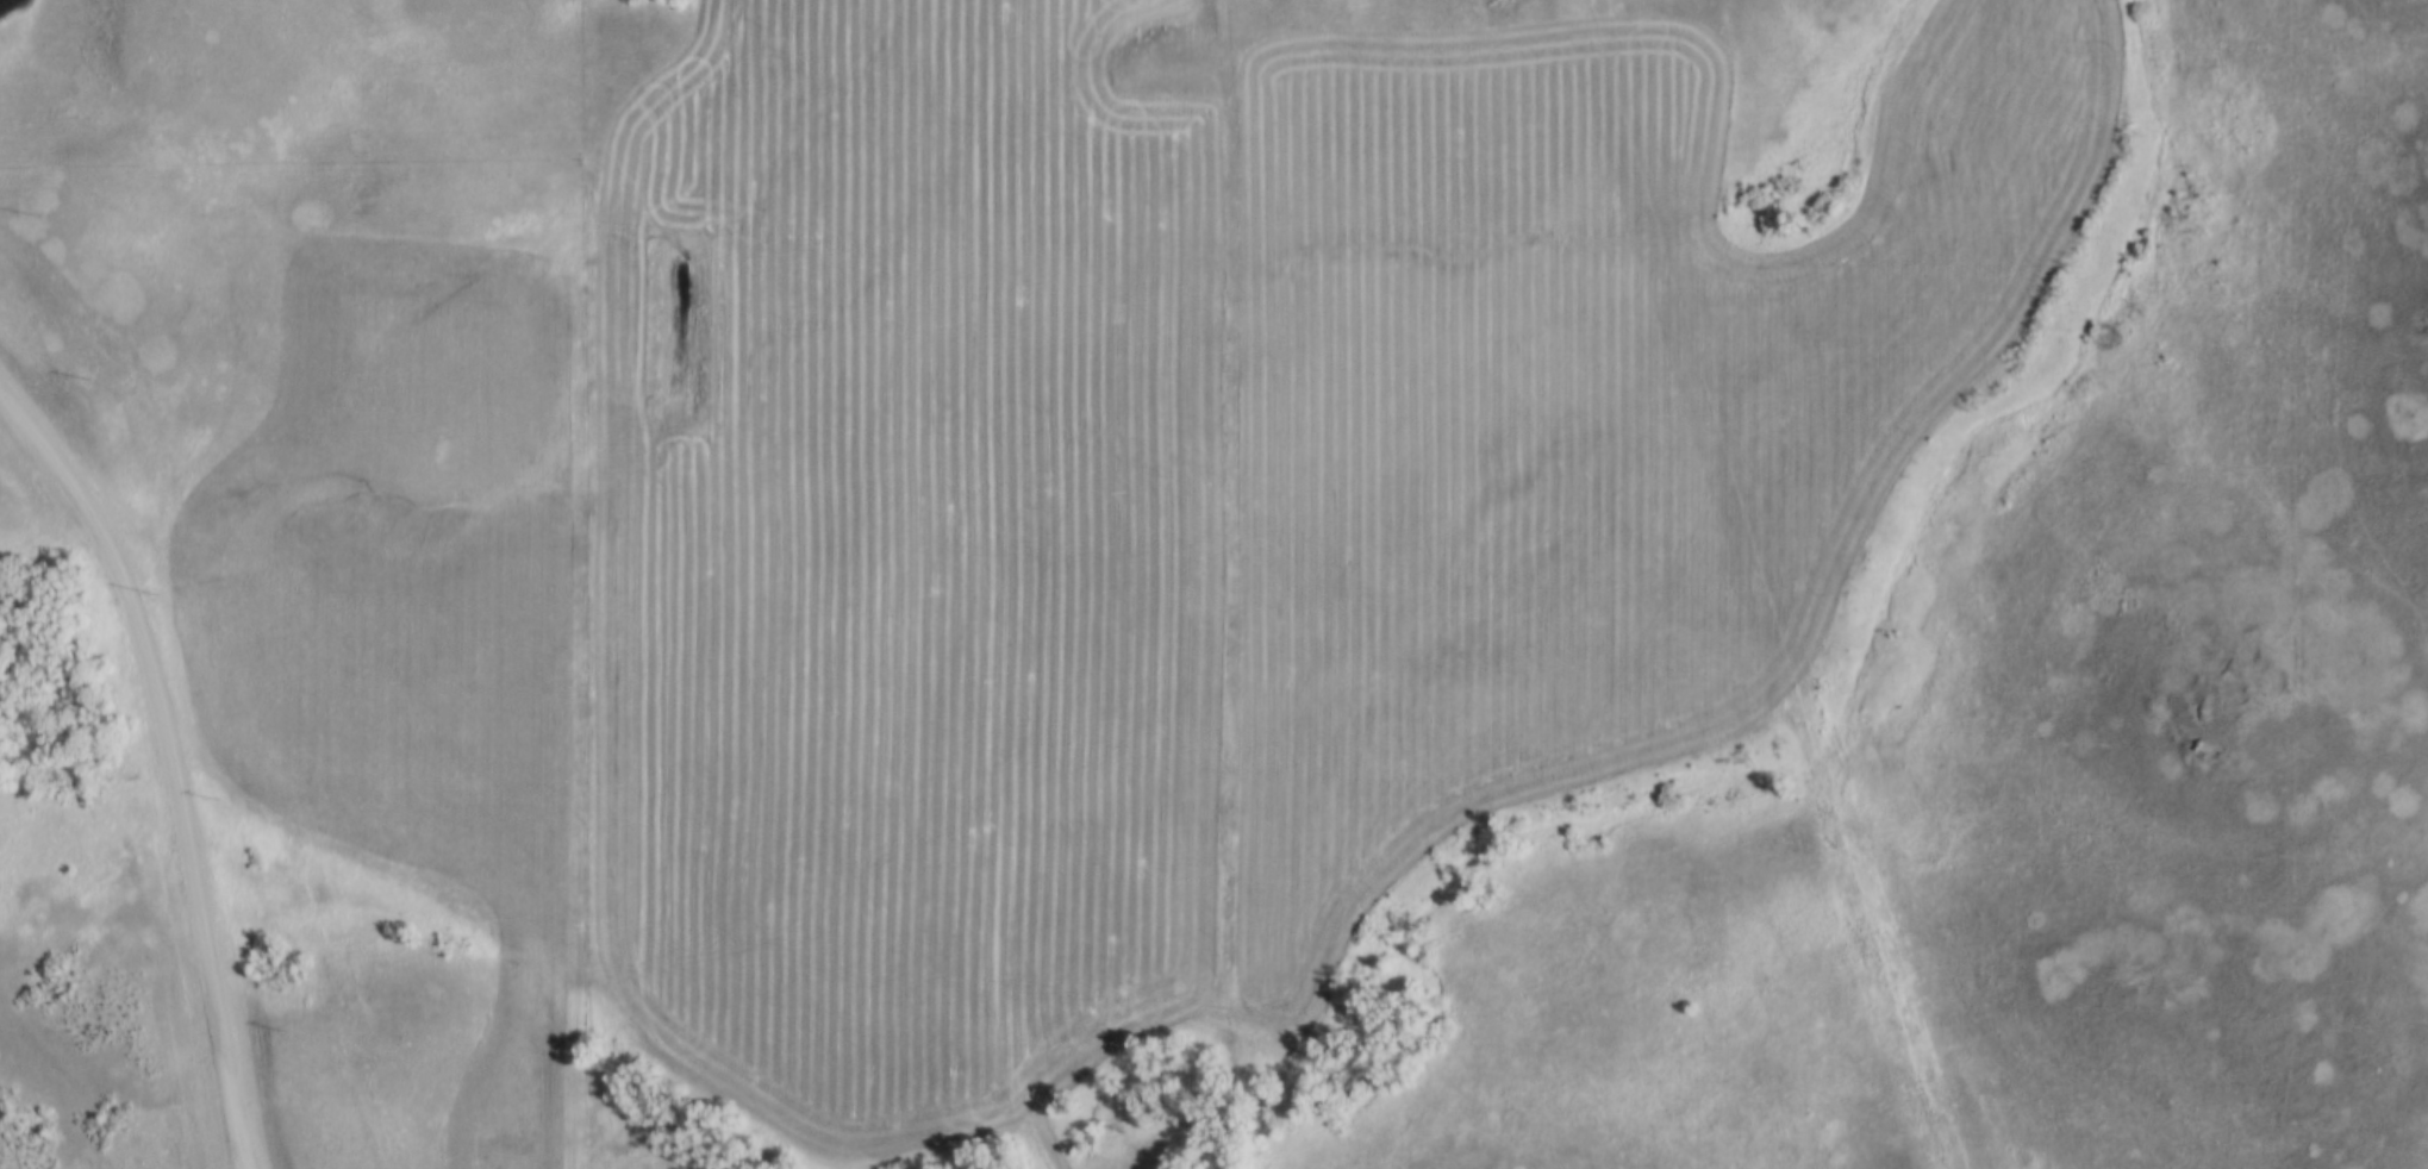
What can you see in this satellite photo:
road: (1225, 517)
road: (163, 763)

